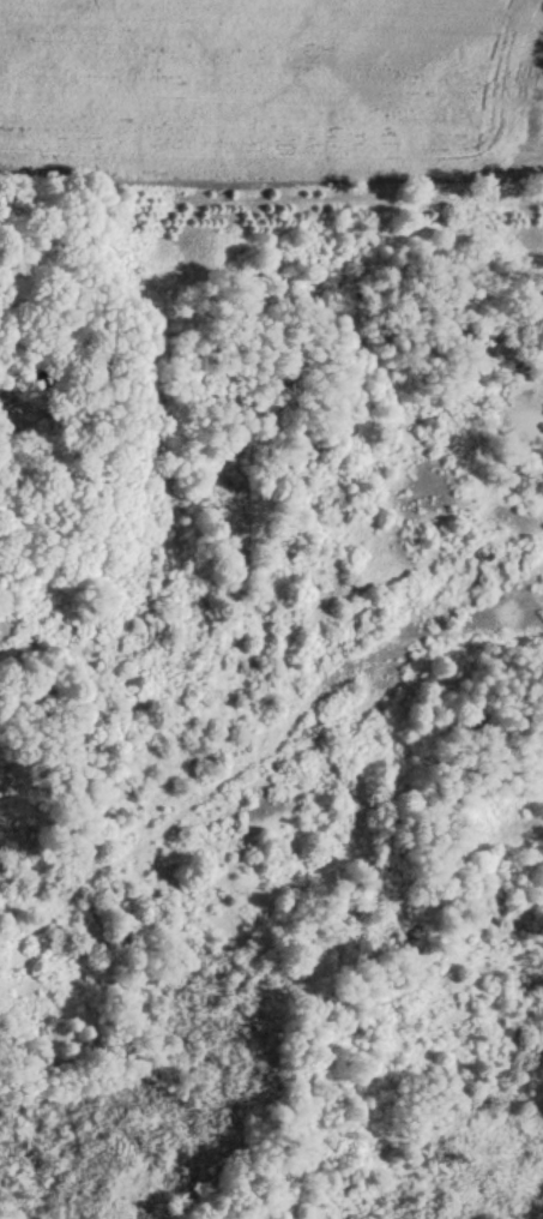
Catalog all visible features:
crop: (277, 88)

